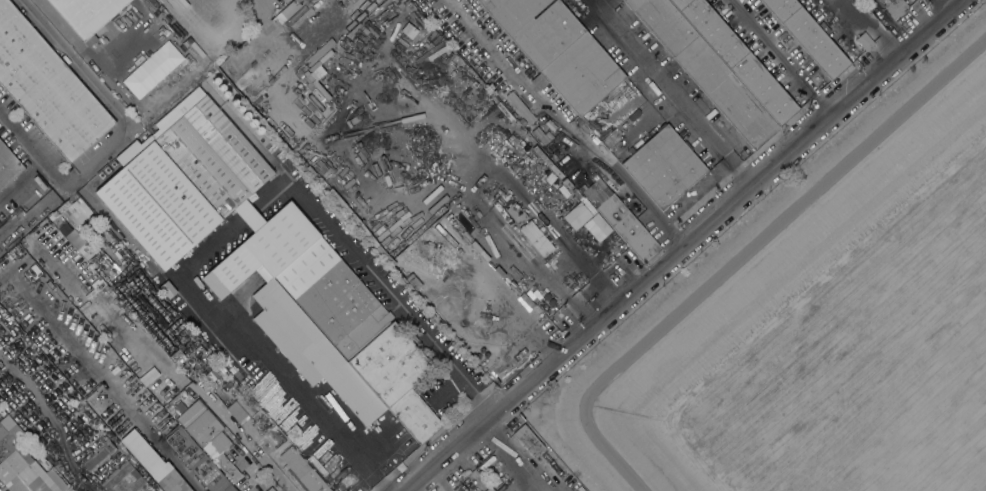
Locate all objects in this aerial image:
building: (896, 7)
building: (818, 11)
building: (86, 13)
building: (535, 26)
road: (861, 27)
building: (833, 28)
building: (809, 35)
building: (865, 40)
road: (780, 55)
road: (90, 58)
building: (736, 58)
building: (151, 68)
building: (705, 69)
building: (582, 73)
building: (538, 80)
building: (47, 86)
road: (667, 92)
building: (520, 106)
building: (522, 121)
road: (134, 123)
road: (563, 123)
building: (542, 134)
road: (33, 147)
building: (8, 165)
building: (663, 165)
road: (23, 181)
building: (512, 208)
building: (575, 215)
road: (250, 218)
building: (620, 218)
building: (168, 222)
building: (536, 237)
road: (680, 243)
road: (742, 253)
road: (588, 266)
road: (375, 277)
building: (138, 278)
railway: (81, 306)
building: (191, 343)
building: (317, 350)
road: (252, 354)
building: (202, 360)
building: (148, 375)
building: (397, 378)
building: (253, 423)
building: (161, 424)
road: (392, 433)
building: (206, 434)
road: (242, 439)
building: (528, 439)
building: (99, 455)
road: (507, 456)
building: (197, 460)
building: (23, 463)
building: (153, 463)
building: (302, 471)
building: (125, 478)
road: (83, 480)
building: (270, 488)
building: (489, 488)

